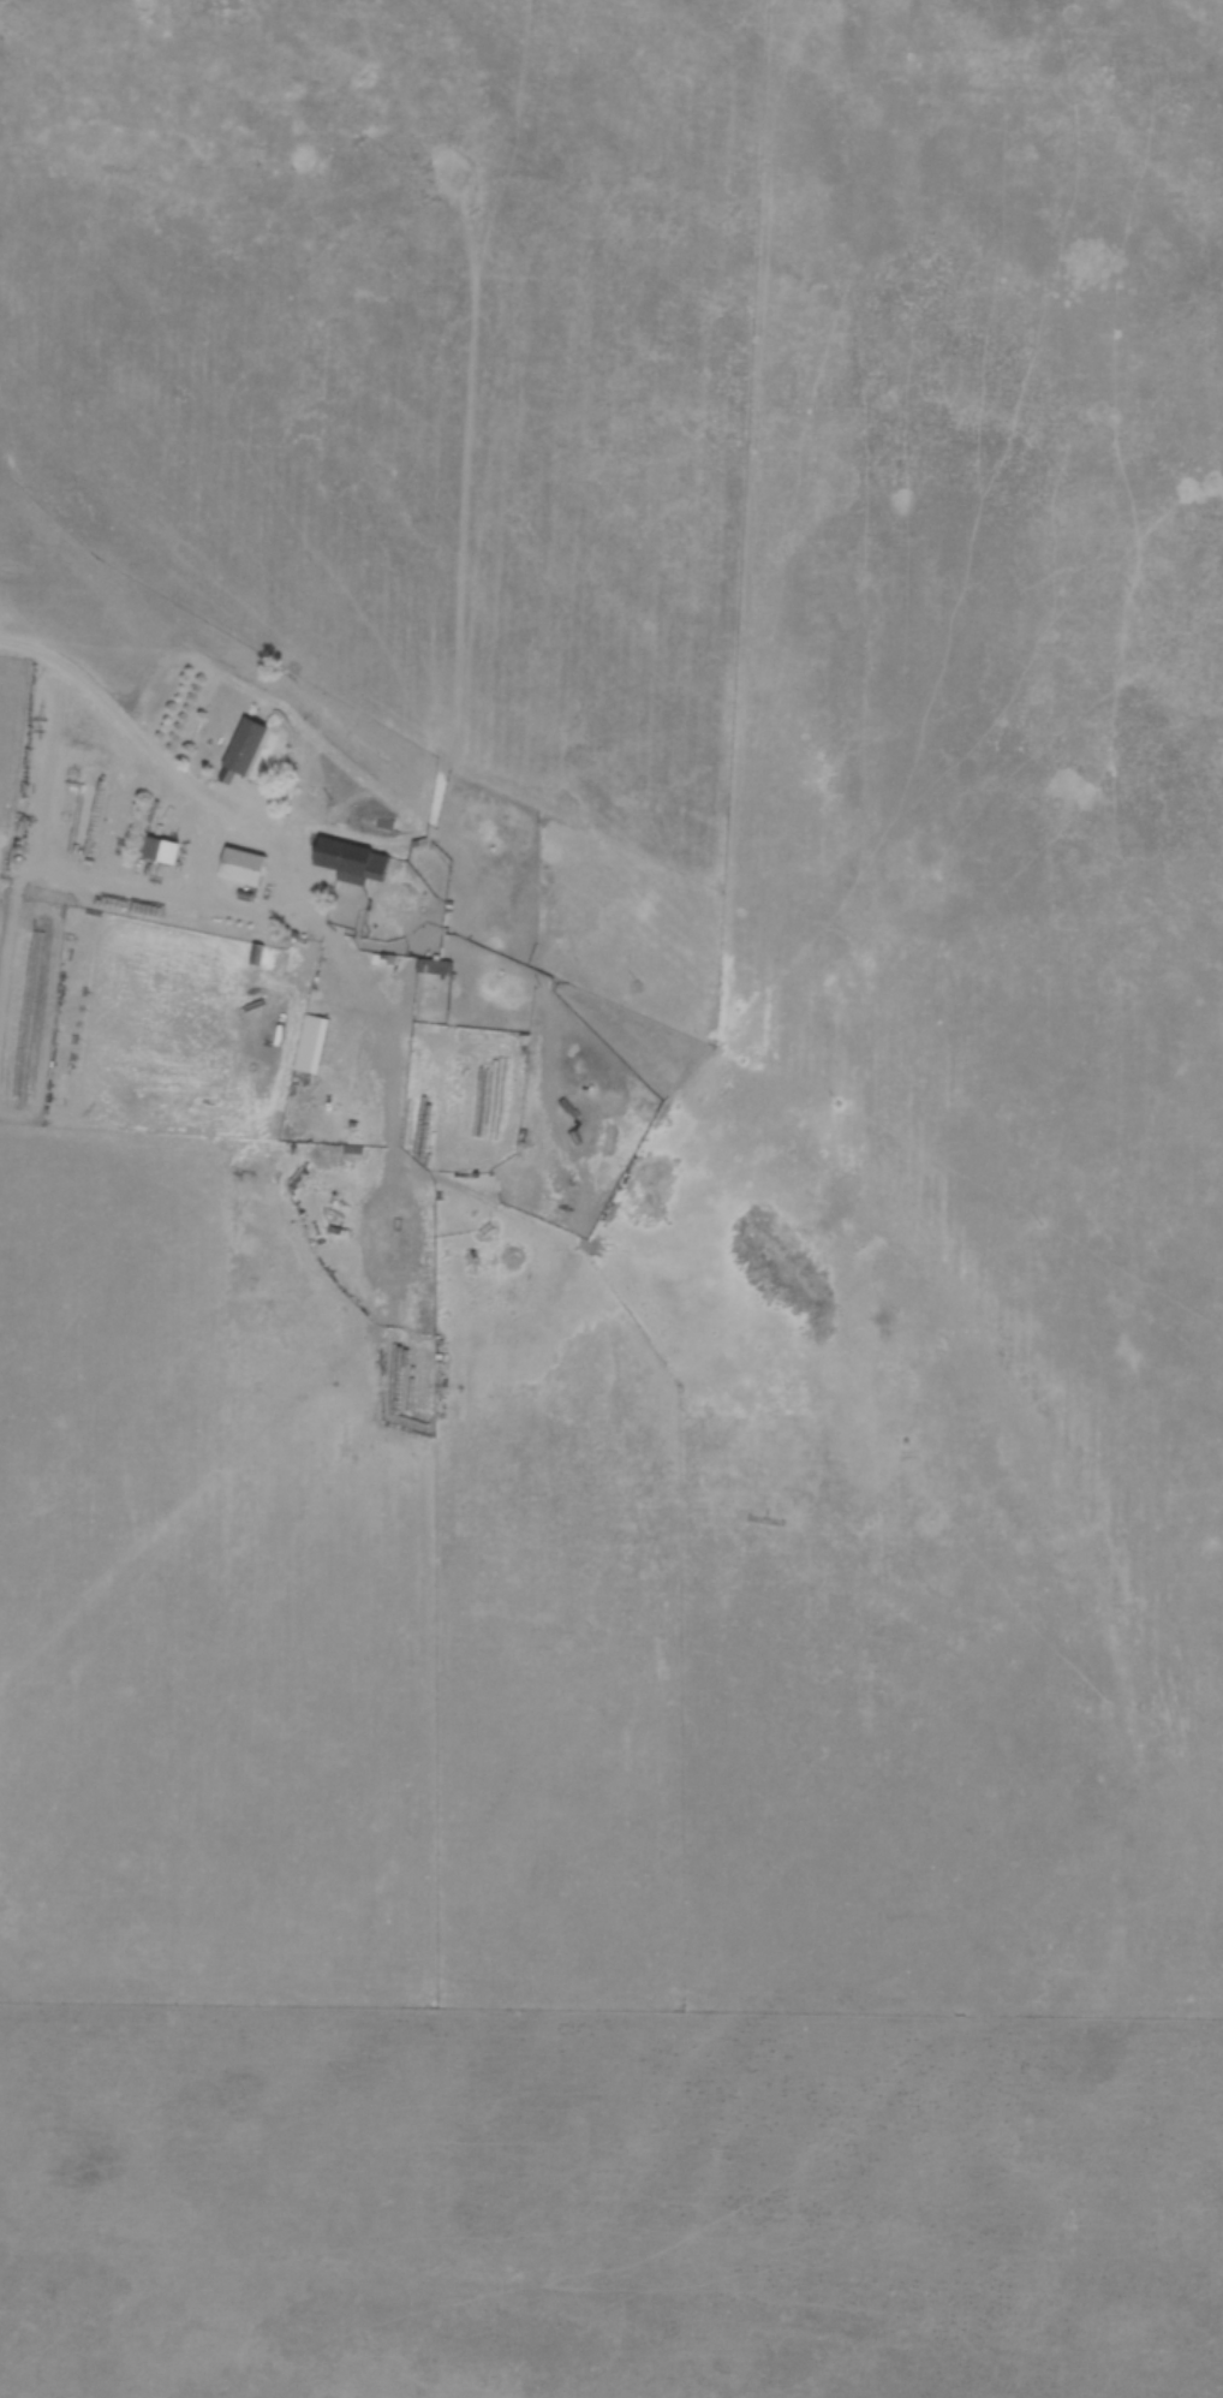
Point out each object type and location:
road: (62, 668)
building: (249, 745)
road: (192, 801)
building: (353, 861)
building: (245, 865)
building: (314, 1043)

